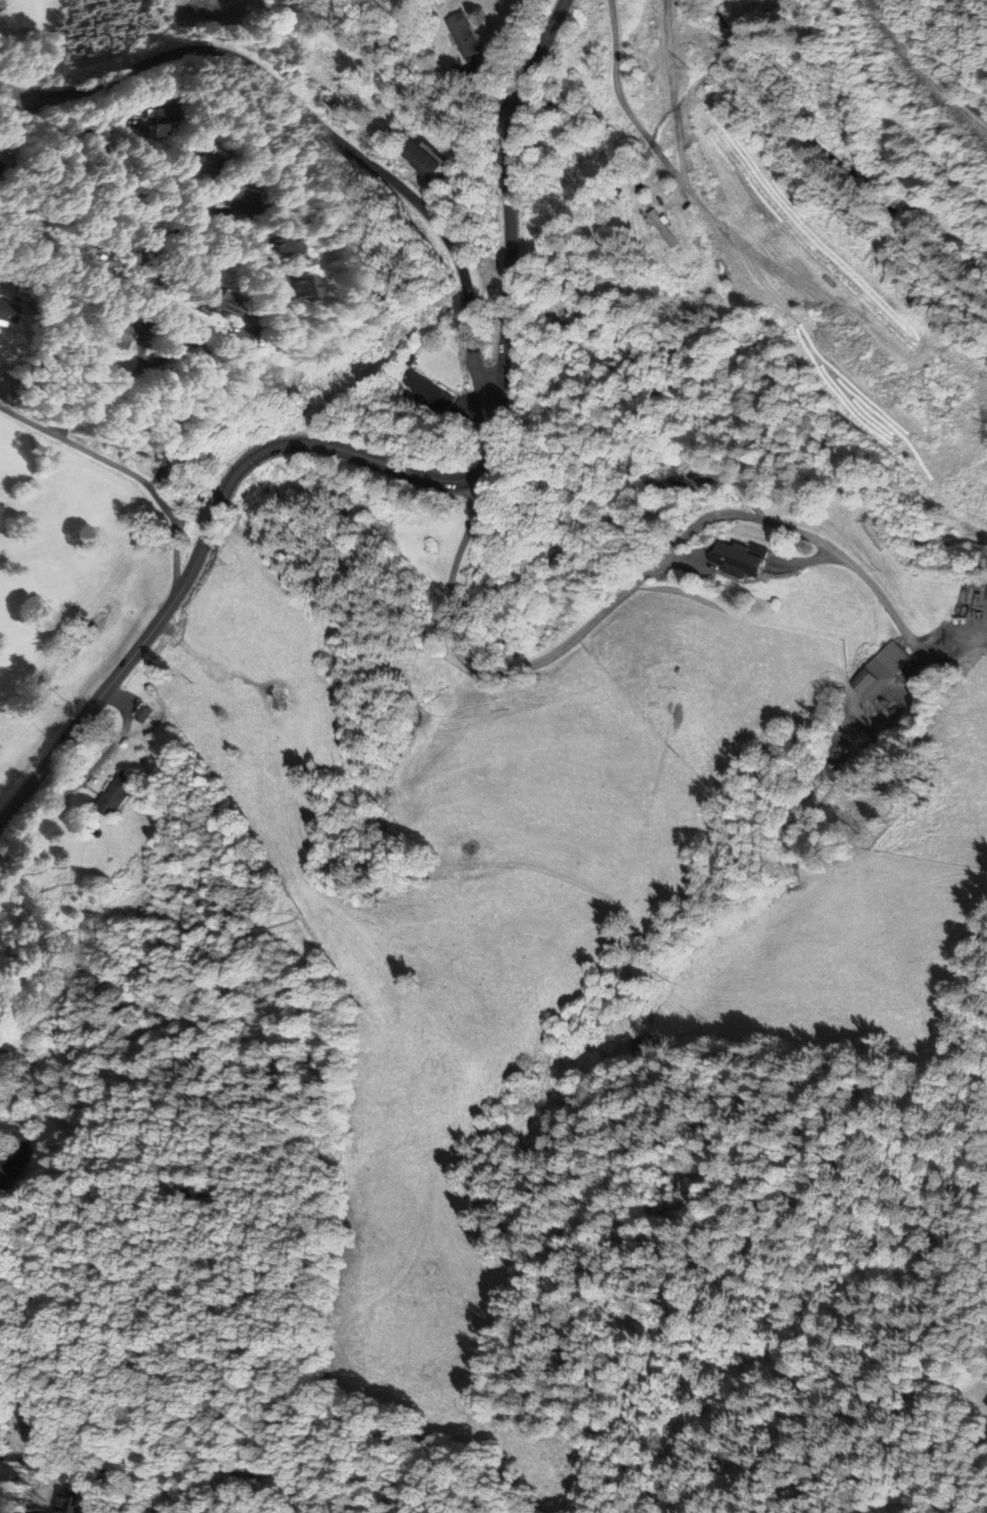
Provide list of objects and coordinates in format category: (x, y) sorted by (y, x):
building: (471, 35)
road: (934, 61)
road: (621, 95)
road: (12, 116)
building: (172, 120)
road: (320, 126)
road: (617, 153)
building: (444, 158)
building: (2, 162)
building: (226, 162)
road: (510, 175)
road: (171, 190)
building: (266, 199)
building: (668, 230)
building: (314, 242)
building: (334, 285)
building: (246, 299)
building: (126, 338)
building: (212, 356)
road: (151, 360)
road: (111, 396)
road: (4, 405)
building: (183, 440)
road: (375, 461)
road: (128, 471)
road: (162, 475)
building: (749, 559)
road: (648, 572)
building: (883, 671)
road: (107, 690)
building: (137, 714)
road: (80, 775)
building: (117, 793)
road: (25, 1149)
building: (37, 1416)
road: (16, 1458)
building: (72, 1503)

